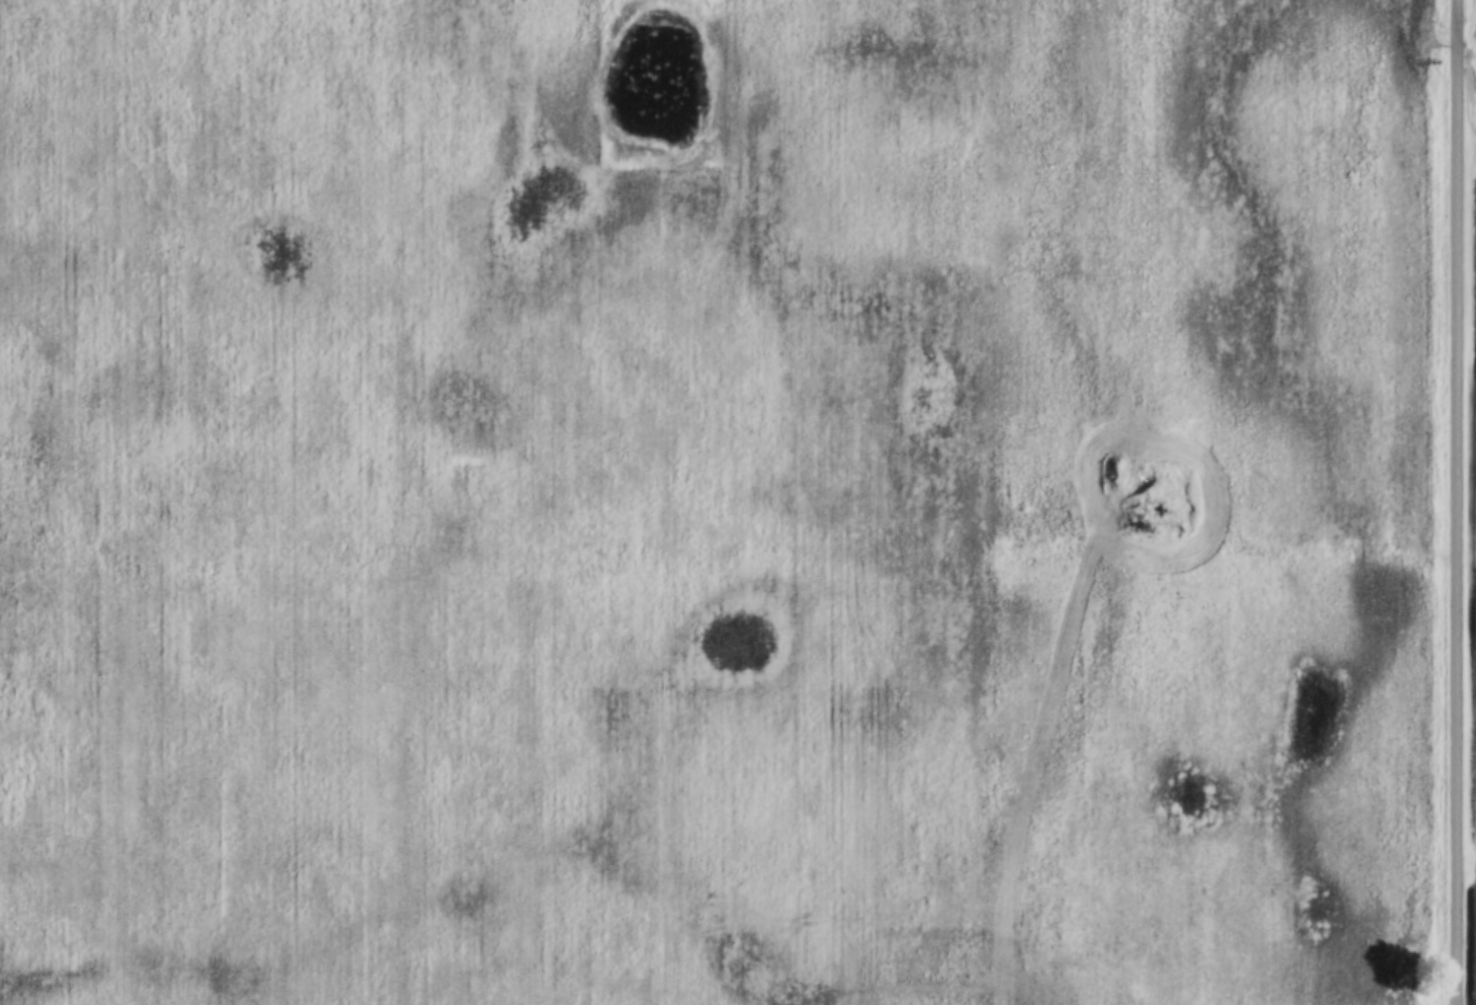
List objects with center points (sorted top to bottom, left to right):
road: (1453, 502)

